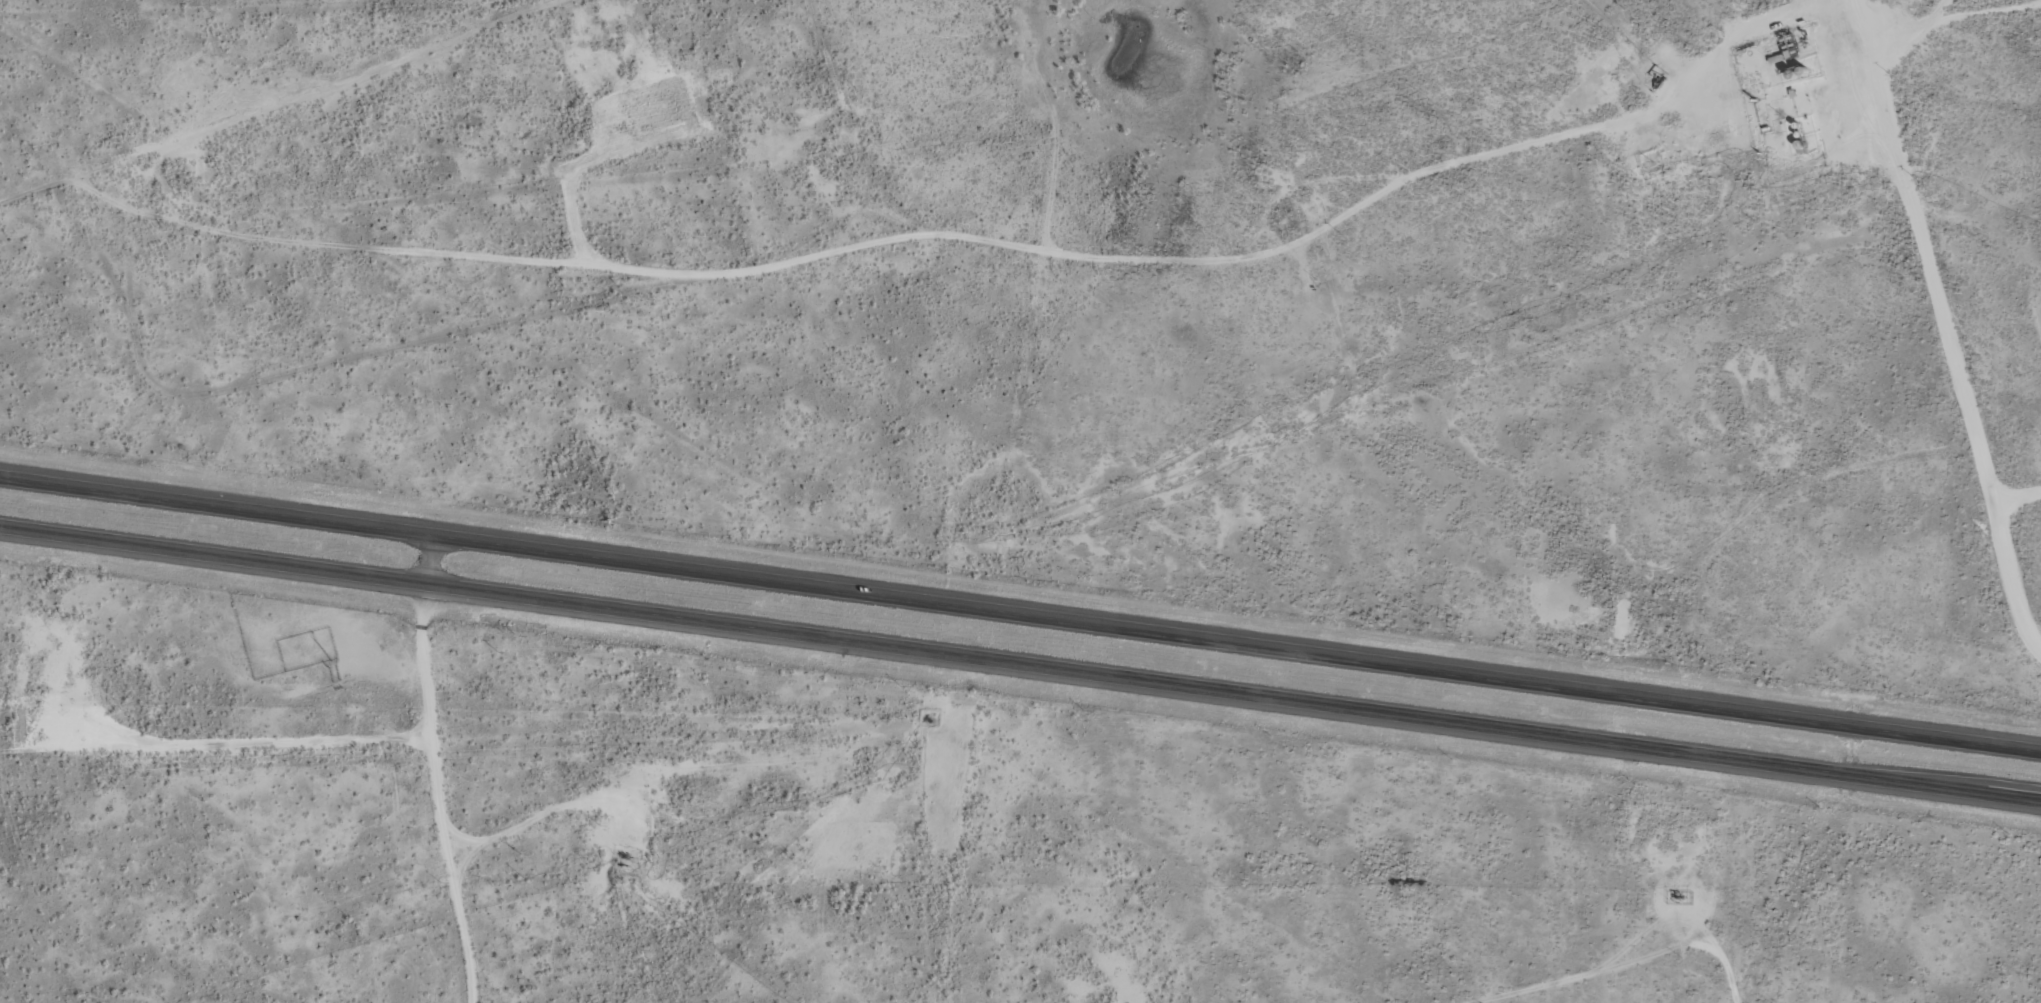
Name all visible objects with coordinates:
road: (1951, 317)
road: (427, 560)
road: (1020, 616)
road: (1020, 664)

